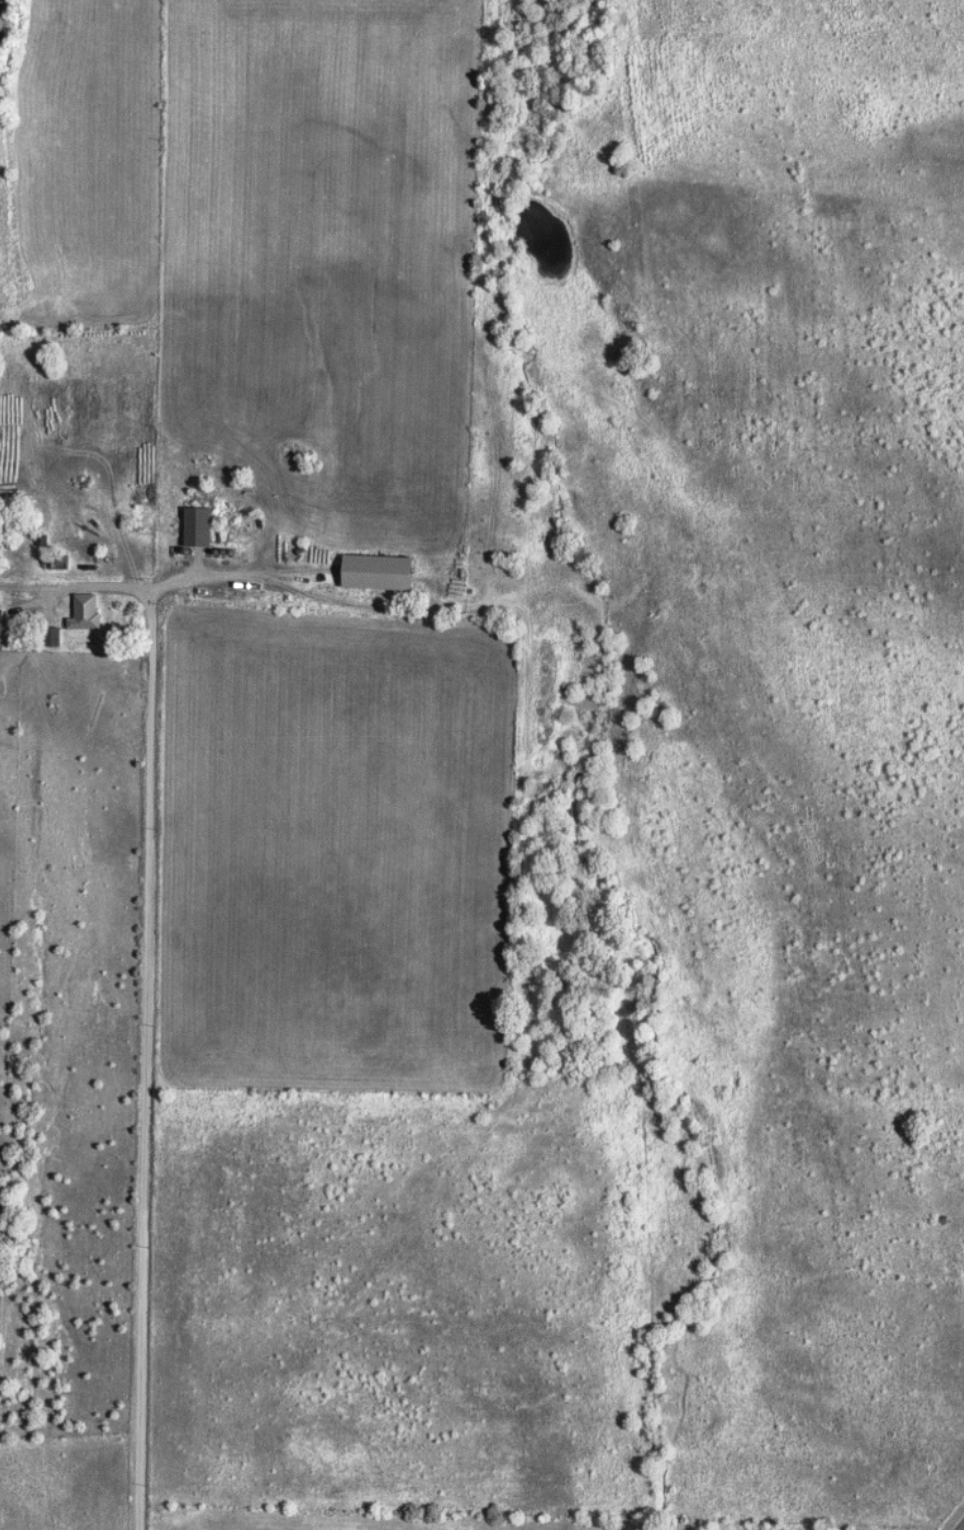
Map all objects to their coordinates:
building: (203, 526)
building: (384, 572)
road: (79, 586)
building: (90, 612)
building: (2, 628)
road: (151, 971)

